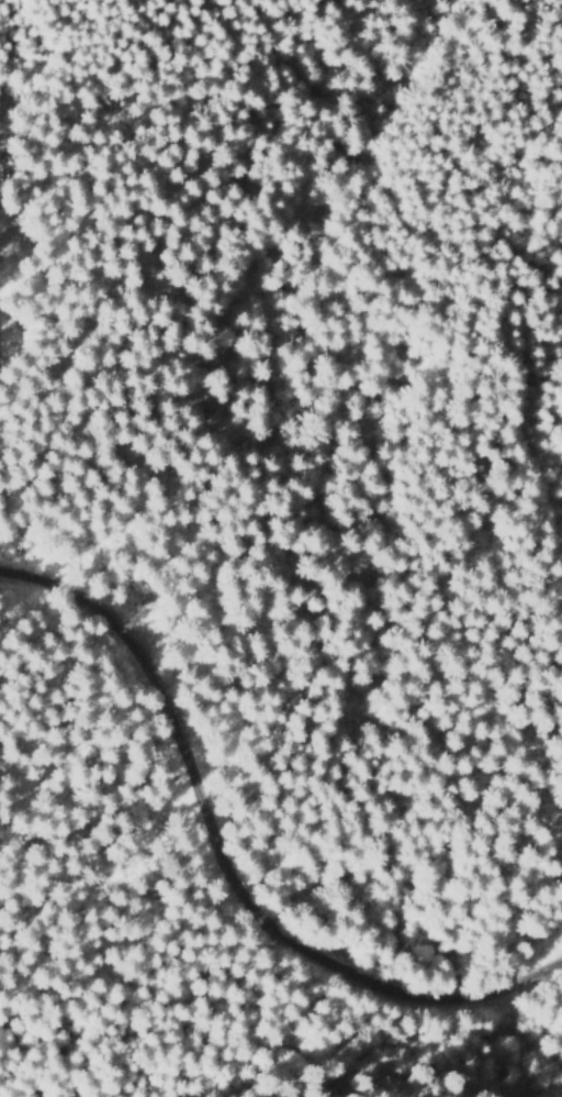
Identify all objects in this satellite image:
road: (19, 147)
road: (224, 865)

